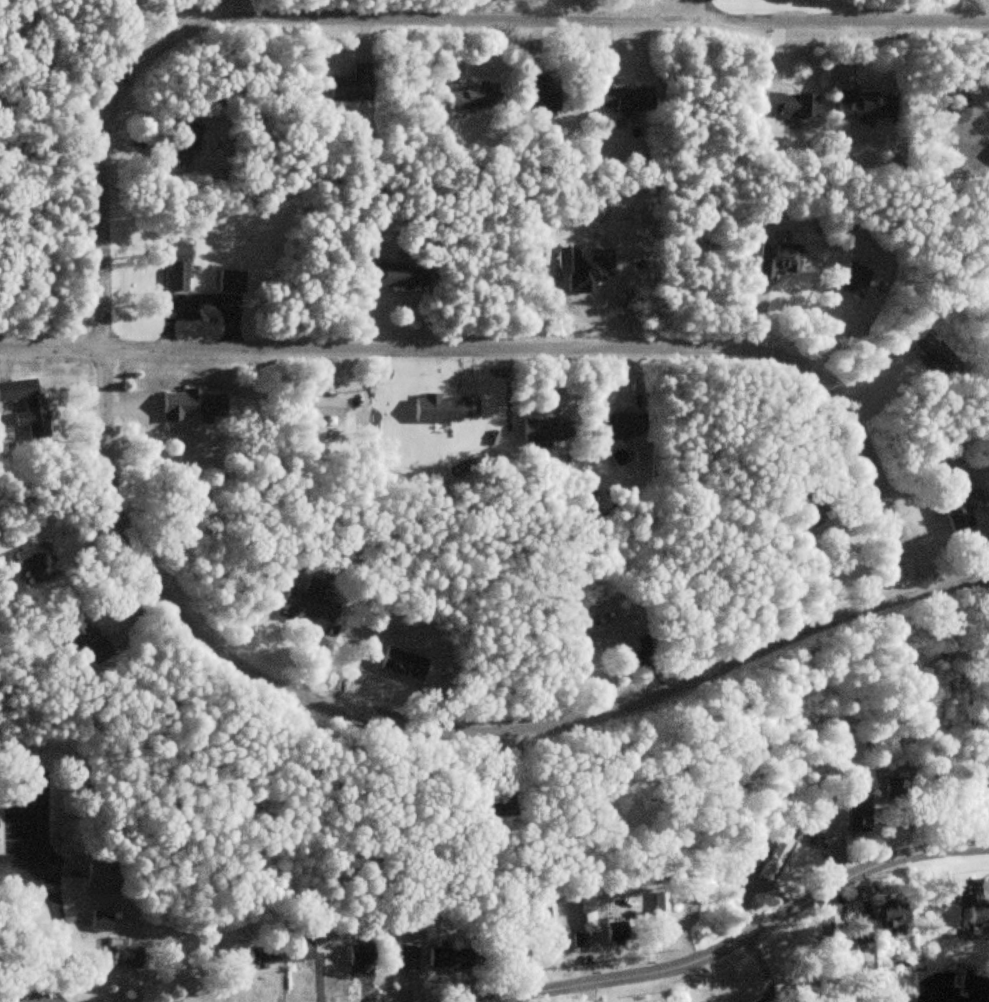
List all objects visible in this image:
building: (357, 80)
building: (538, 94)
building: (473, 95)
building: (625, 97)
building: (790, 103)
building: (866, 104)
building: (184, 142)
building: (778, 256)
building: (176, 266)
building: (397, 273)
building: (231, 281)
road: (514, 315)
building: (932, 351)
building: (24, 396)
building: (192, 404)
building: (325, 406)
building: (620, 425)
building: (550, 430)
building: (964, 504)
building: (813, 509)
building: (37, 562)
building: (318, 612)
building: (611, 632)
building: (83, 637)
road: (273, 670)
building: (859, 817)
building: (768, 867)
building: (102, 877)
building: (974, 903)
building: (896, 913)
building: (588, 916)
road: (54, 920)
building: (550, 921)
building: (871, 924)
building: (619, 932)
building: (221, 942)
road: (742, 943)
building: (124, 954)
building: (360, 954)
building: (268, 956)
building: (408, 957)
building: (454, 957)
road: (10, 1000)

